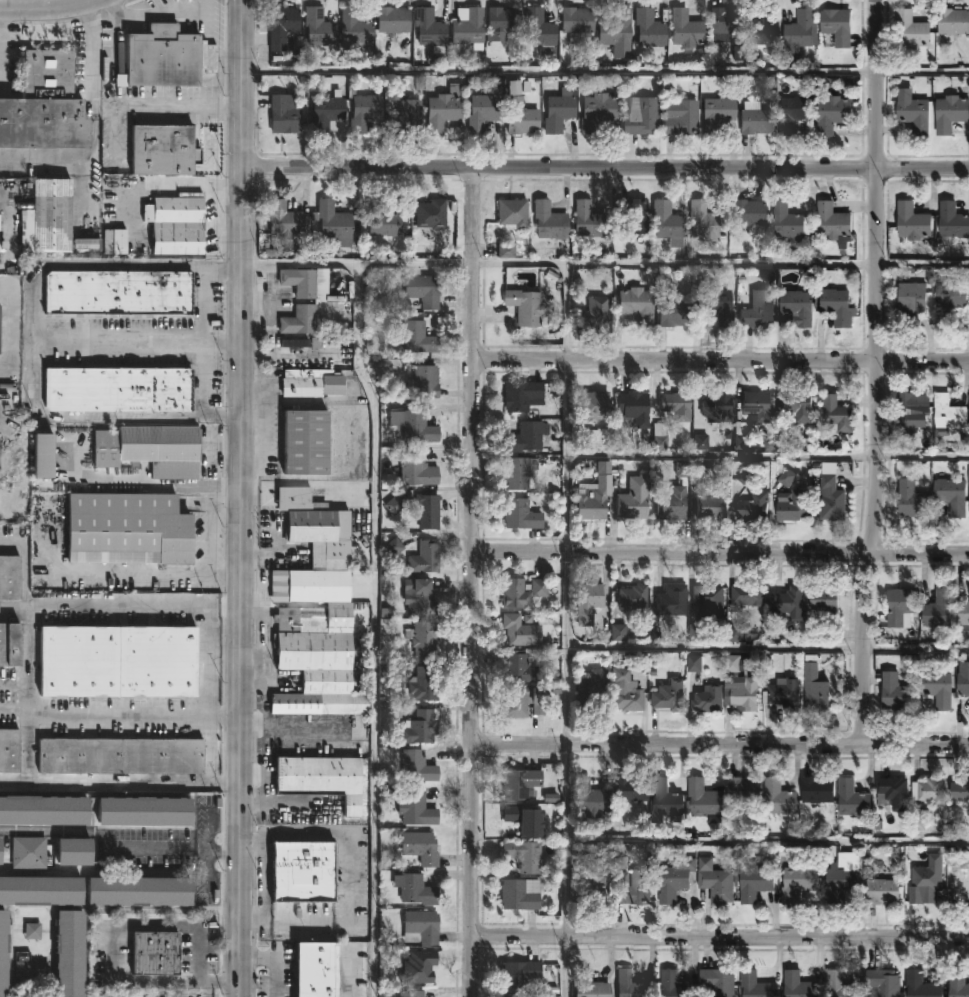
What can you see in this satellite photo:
road: (49, 10)
road: (157, 14)
building: (393, 19)
building: (728, 19)
building: (576, 22)
building: (953, 22)
building: (502, 23)
building: (282, 26)
building: (837, 26)
building: (429, 28)
building: (467, 28)
building: (649, 28)
building: (761, 28)
building: (538, 29)
building: (801, 29)
building: (319, 30)
building: (686, 30)
building: (355, 31)
building: (616, 32)
building: (913, 33)
building: (160, 58)
road: (606, 71)
building: (44, 106)
building: (444, 108)
building: (362, 110)
building: (597, 111)
building: (718, 111)
building: (914, 111)
building: (327, 112)
building: (483, 112)
building: (831, 112)
building: (558, 113)
building: (951, 113)
building: (793, 114)
building: (640, 115)
building: (283, 116)
road: (94, 117)
building: (520, 117)
building: (680, 117)
building: (405, 119)
building: (756, 119)
building: (163, 151)
road: (605, 167)
road: (8, 182)
building: (431, 213)
building: (512, 214)
building: (748, 214)
building: (48, 217)
building: (633, 217)
building: (286, 221)
building: (549, 221)
building: (590, 221)
building: (704, 221)
building: (953, 221)
building: (333, 222)
building: (913, 222)
building: (384, 223)
building: (787, 223)
building: (668, 224)
building: (834, 224)
building: (177, 225)
building: (433, 248)
road: (606, 264)
building: (303, 282)
building: (423, 291)
building: (117, 293)
building: (913, 297)
building: (713, 301)
building: (949, 301)
building: (636, 305)
building: (838, 306)
building: (526, 307)
building: (798, 308)
building: (759, 311)
building: (594, 312)
building: (675, 313)
building: (299, 321)
building: (0, 327)
building: (416, 337)
road: (39, 340)
road: (141, 340)
road: (721, 361)
road: (877, 372)
building: (423, 383)
building: (309, 384)
building: (118, 390)
building: (521, 396)
building: (758, 405)
building: (594, 406)
building: (676, 406)
building: (798, 406)
building: (634, 408)
building: (716, 408)
building: (912, 410)
building: (835, 413)
building: (949, 414)
building: (412, 427)
building: (659, 436)
building: (525, 438)
building: (305, 443)
building: (150, 450)
road: (767, 455)
building: (42, 457)
building: (415, 469)
building: (516, 475)
building: (953, 496)
road: (243, 498)
building: (634, 500)
building: (832, 500)
building: (913, 500)
building: (672, 504)
building: (591, 505)
building: (793, 505)
road: (229, 507)
building: (712, 507)
building: (754, 507)
building: (428, 512)
building: (522, 516)
building: (127, 530)
road: (211, 541)
building: (314, 550)
road: (720, 552)
building: (423, 557)
road: (154, 574)
building: (9, 578)
road: (472, 581)
road: (23, 582)
building: (522, 593)
building: (748, 595)
building: (419, 598)
building: (633, 598)
building: (708, 600)
building: (589, 601)
building: (672, 601)
building: (828, 603)
building: (789, 605)
building: (901, 606)
building: (940, 609)
building: (964, 616)
road: (373, 628)
road: (566, 630)
building: (520, 631)
building: (425, 639)
building: (9, 645)
road: (767, 648)
road: (29, 659)
building: (316, 661)
building: (118, 662)
building: (517, 665)
building: (964, 677)
road: (14, 684)
building: (424, 684)
building: (741, 685)
building: (590, 688)
building: (939, 688)
building: (820, 690)
building: (625, 692)
building: (896, 692)
building: (784, 694)
building: (669, 695)
building: (709, 699)
building: (522, 701)
road: (14, 707)
building: (421, 726)
road: (308, 736)
road: (720, 744)
road: (27, 749)
building: (9, 750)
building: (120, 755)
building: (417, 766)
building: (321, 778)
road: (121, 783)
building: (519, 783)
building: (631, 788)
building: (817, 788)
building: (744, 789)
building: (931, 790)
building: (961, 791)
building: (892, 792)
building: (589, 798)
building: (853, 798)
building: (706, 799)
building: (780, 799)
building: (666, 803)
building: (413, 808)
building: (43, 809)
building: (144, 810)
building: (522, 820)
road: (95, 835)
road: (767, 840)
building: (420, 847)
road: (209, 848)
building: (74, 851)
road: (226, 851)
building: (28, 852)
building: (1, 853)
building: (523, 855)
building: (302, 872)
building: (845, 875)
building: (674, 879)
building: (928, 879)
road: (349, 880)
building: (588, 880)
building: (800, 880)
building: (716, 881)
building: (958, 881)
building: (757, 882)
building: (634, 888)
building: (415, 889)
building: (40, 890)
building: (139, 890)
building: (883, 891)
building: (519, 894)
road: (78, 910)
building: (421, 926)
building: (34, 933)
road: (721, 936)
road: (114, 947)
road: (10, 948)
building: (3, 952)
building: (69, 952)
building: (154, 953)
road: (277, 960)
road: (50, 963)
building: (316, 969)
building: (416, 971)
building: (31, 974)
building: (519, 975)
building: (717, 981)
building: (959, 981)
building: (882, 983)
building: (588, 984)
building: (673, 984)
building: (841, 984)
building: (631, 985)
building: (759, 985)
building: (800, 985)
building: (922, 985)
building: (410, 993)

